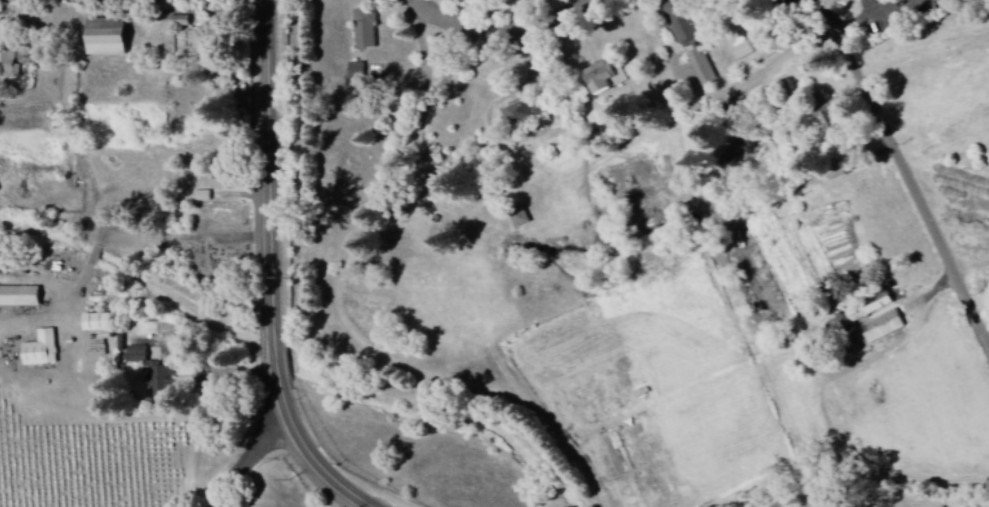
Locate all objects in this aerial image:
road: (884, 20)
building: (178, 22)
building: (680, 22)
building: (365, 29)
building: (106, 36)
building: (207, 36)
road: (509, 41)
road: (422, 54)
road: (673, 55)
building: (9, 66)
building: (702, 67)
building: (357, 72)
road: (769, 74)
building: (604, 77)
building: (522, 113)
building: (826, 114)
road: (789, 133)
road: (270, 158)
road: (83, 159)
road: (856, 170)
road: (906, 172)
building: (518, 218)
road: (94, 256)
road: (934, 295)
building: (19, 296)
building: (869, 308)
road: (54, 310)
building: (96, 324)
road: (348, 326)
building: (884, 328)
road: (274, 339)
building: (41, 351)
crop: (767, 361)
road: (129, 417)
road: (305, 444)
road: (251, 457)
road: (866, 488)

